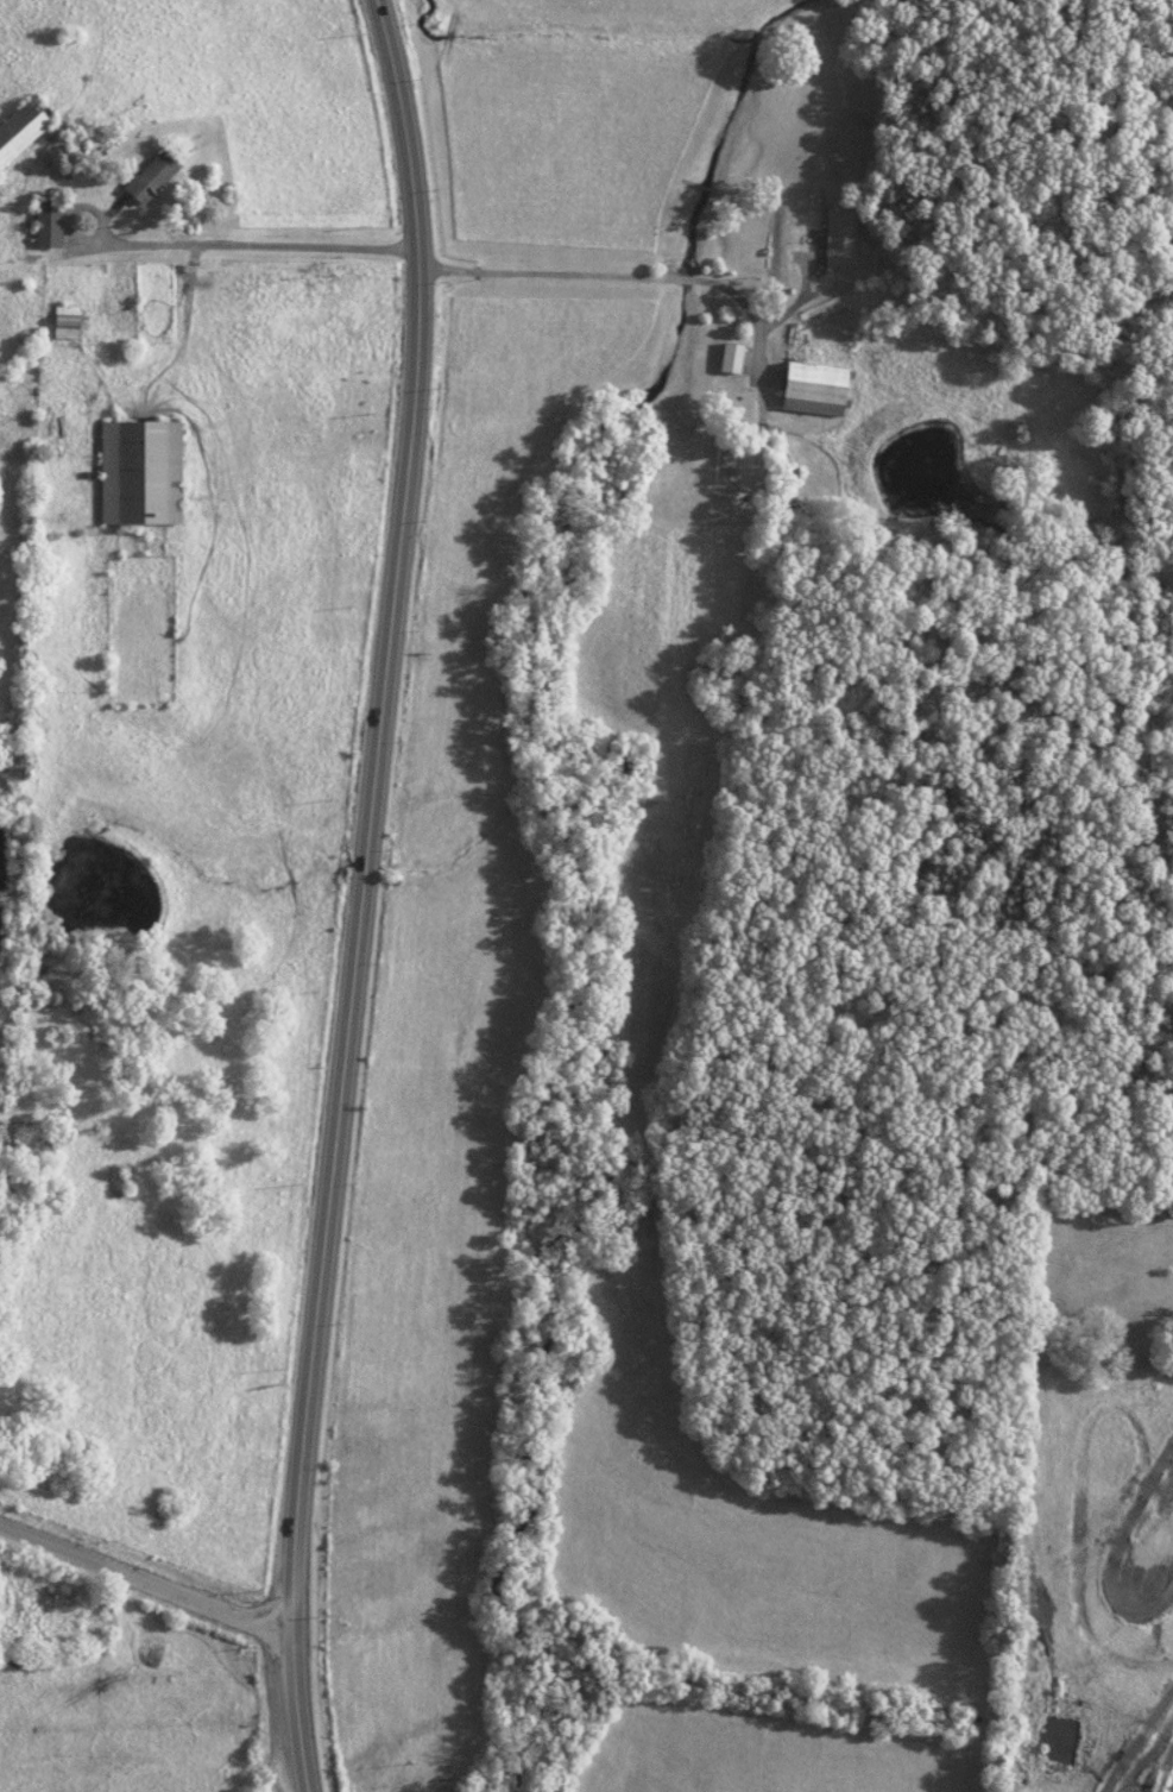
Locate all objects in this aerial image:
building: (23, 126)
building: (149, 176)
building: (45, 222)
building: (838, 235)
building: (63, 320)
building: (727, 357)
building: (811, 388)
building: (137, 472)
road: (359, 894)
road: (146, 1578)

